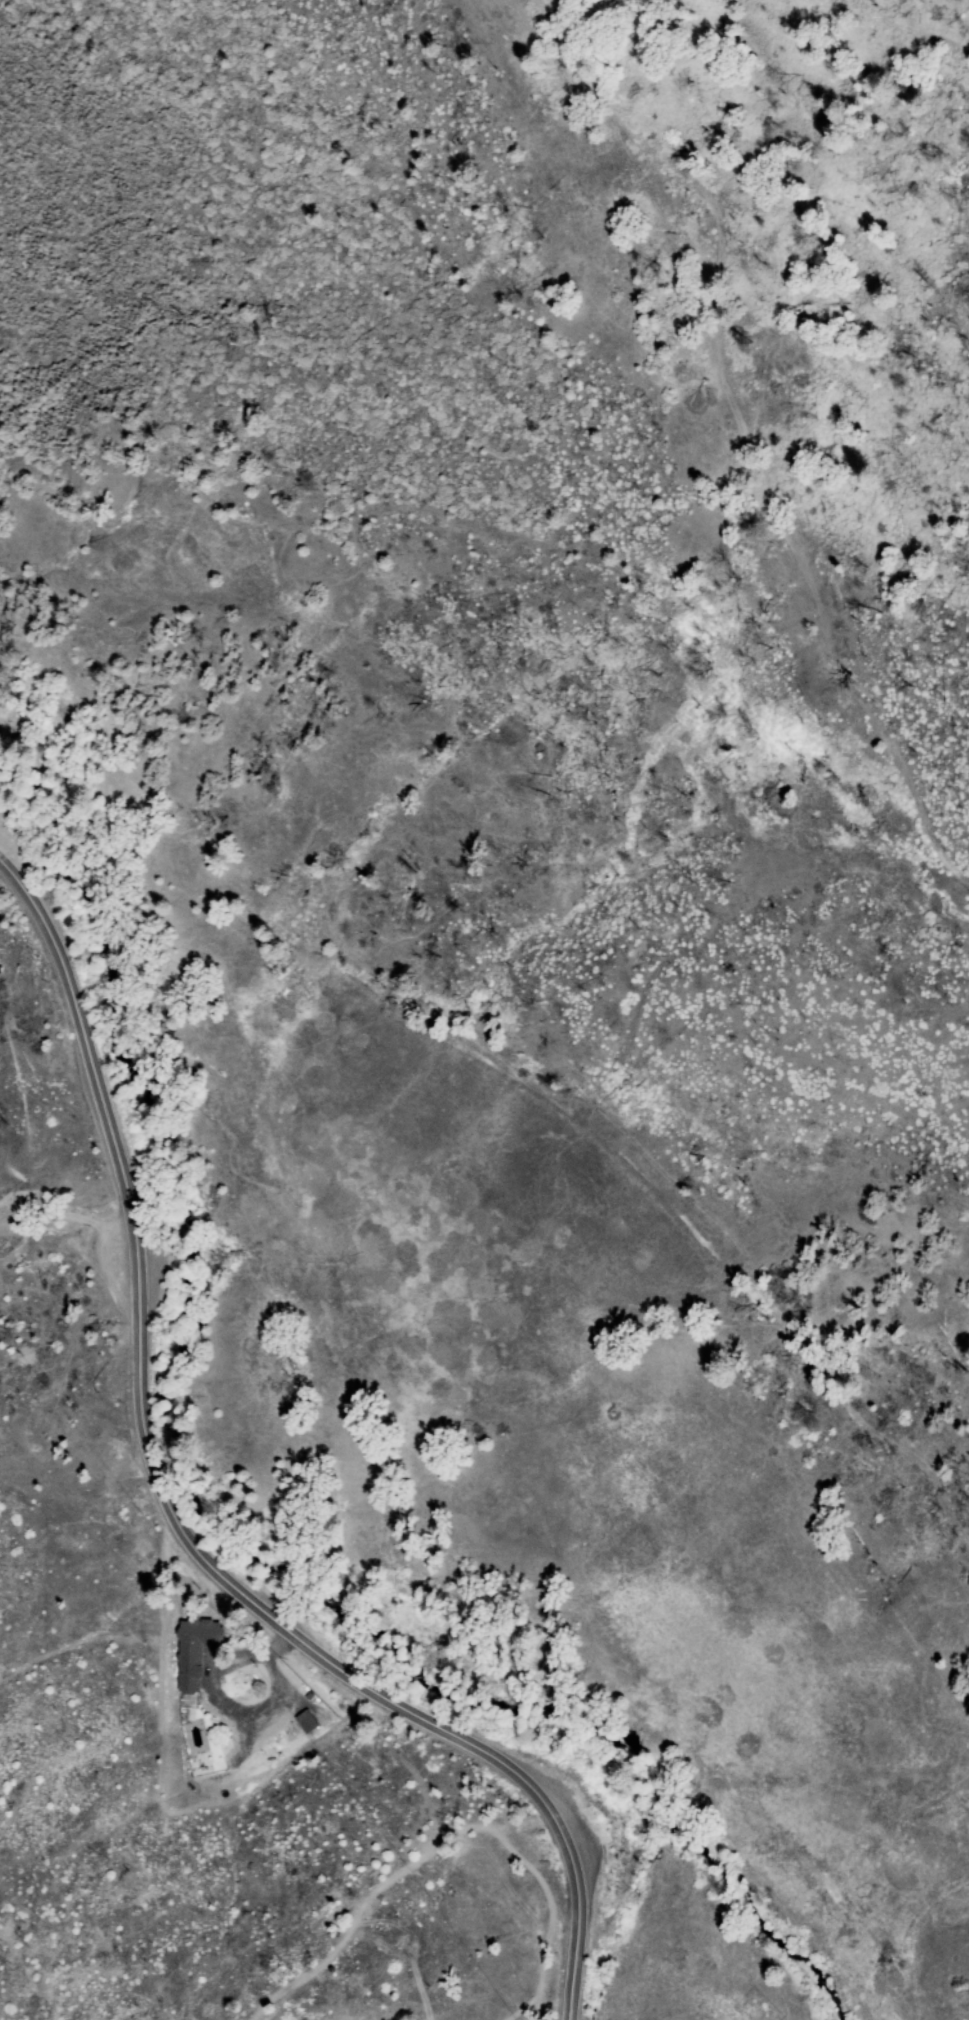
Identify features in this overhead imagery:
road: (908, 26)
road: (741, 453)
road: (66, 1214)
road: (176, 1520)
building: (191, 1650)
road: (214, 1697)
road: (448, 1837)
road: (411, 1947)

